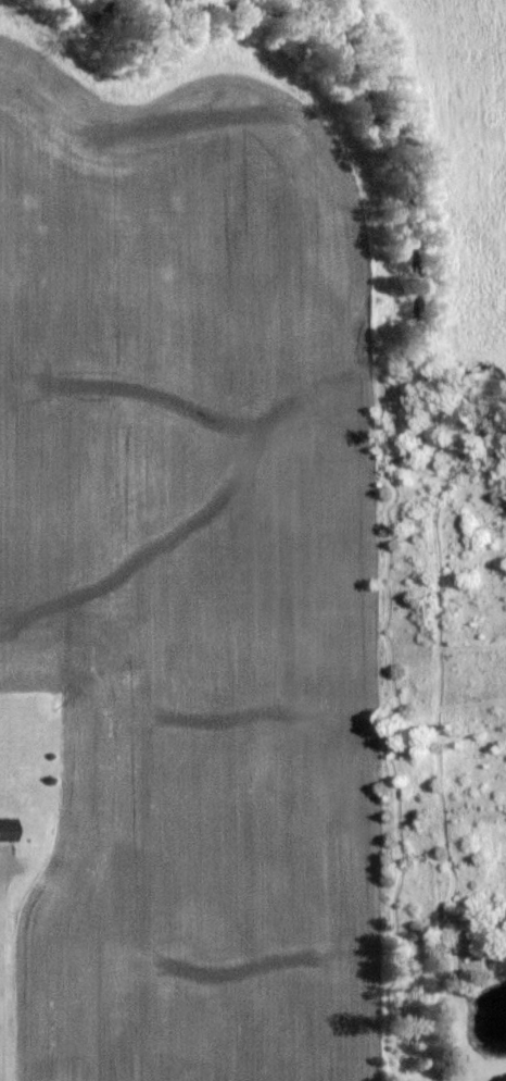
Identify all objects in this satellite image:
building: (9, 829)
road: (1, 974)

